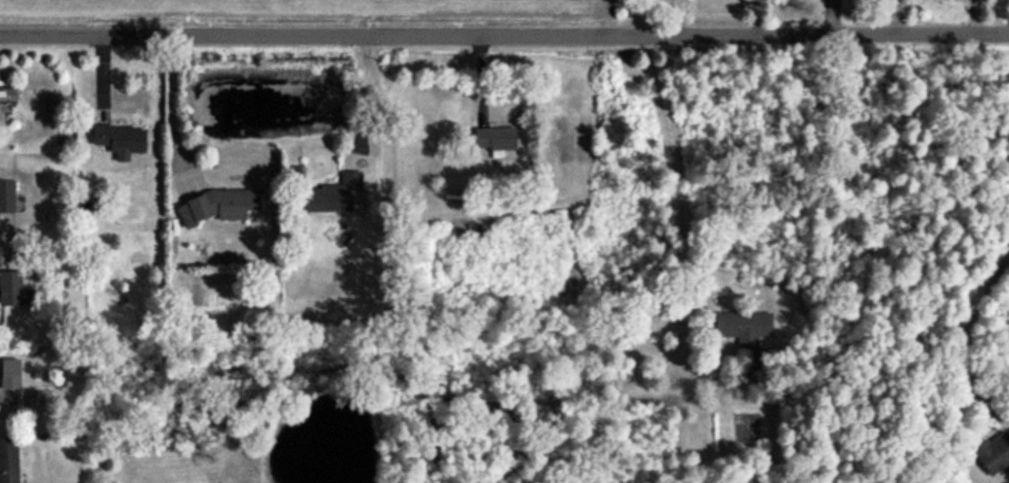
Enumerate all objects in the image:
road: (504, 32)
road: (343, 94)
building: (8, 101)
road: (170, 104)
building: (123, 137)
building: (497, 137)
road: (655, 166)
building: (338, 195)
building: (8, 197)
building: (223, 206)
building: (12, 287)
building: (742, 328)
building: (0, 332)
building: (12, 373)
building: (41, 398)
building: (10, 467)

